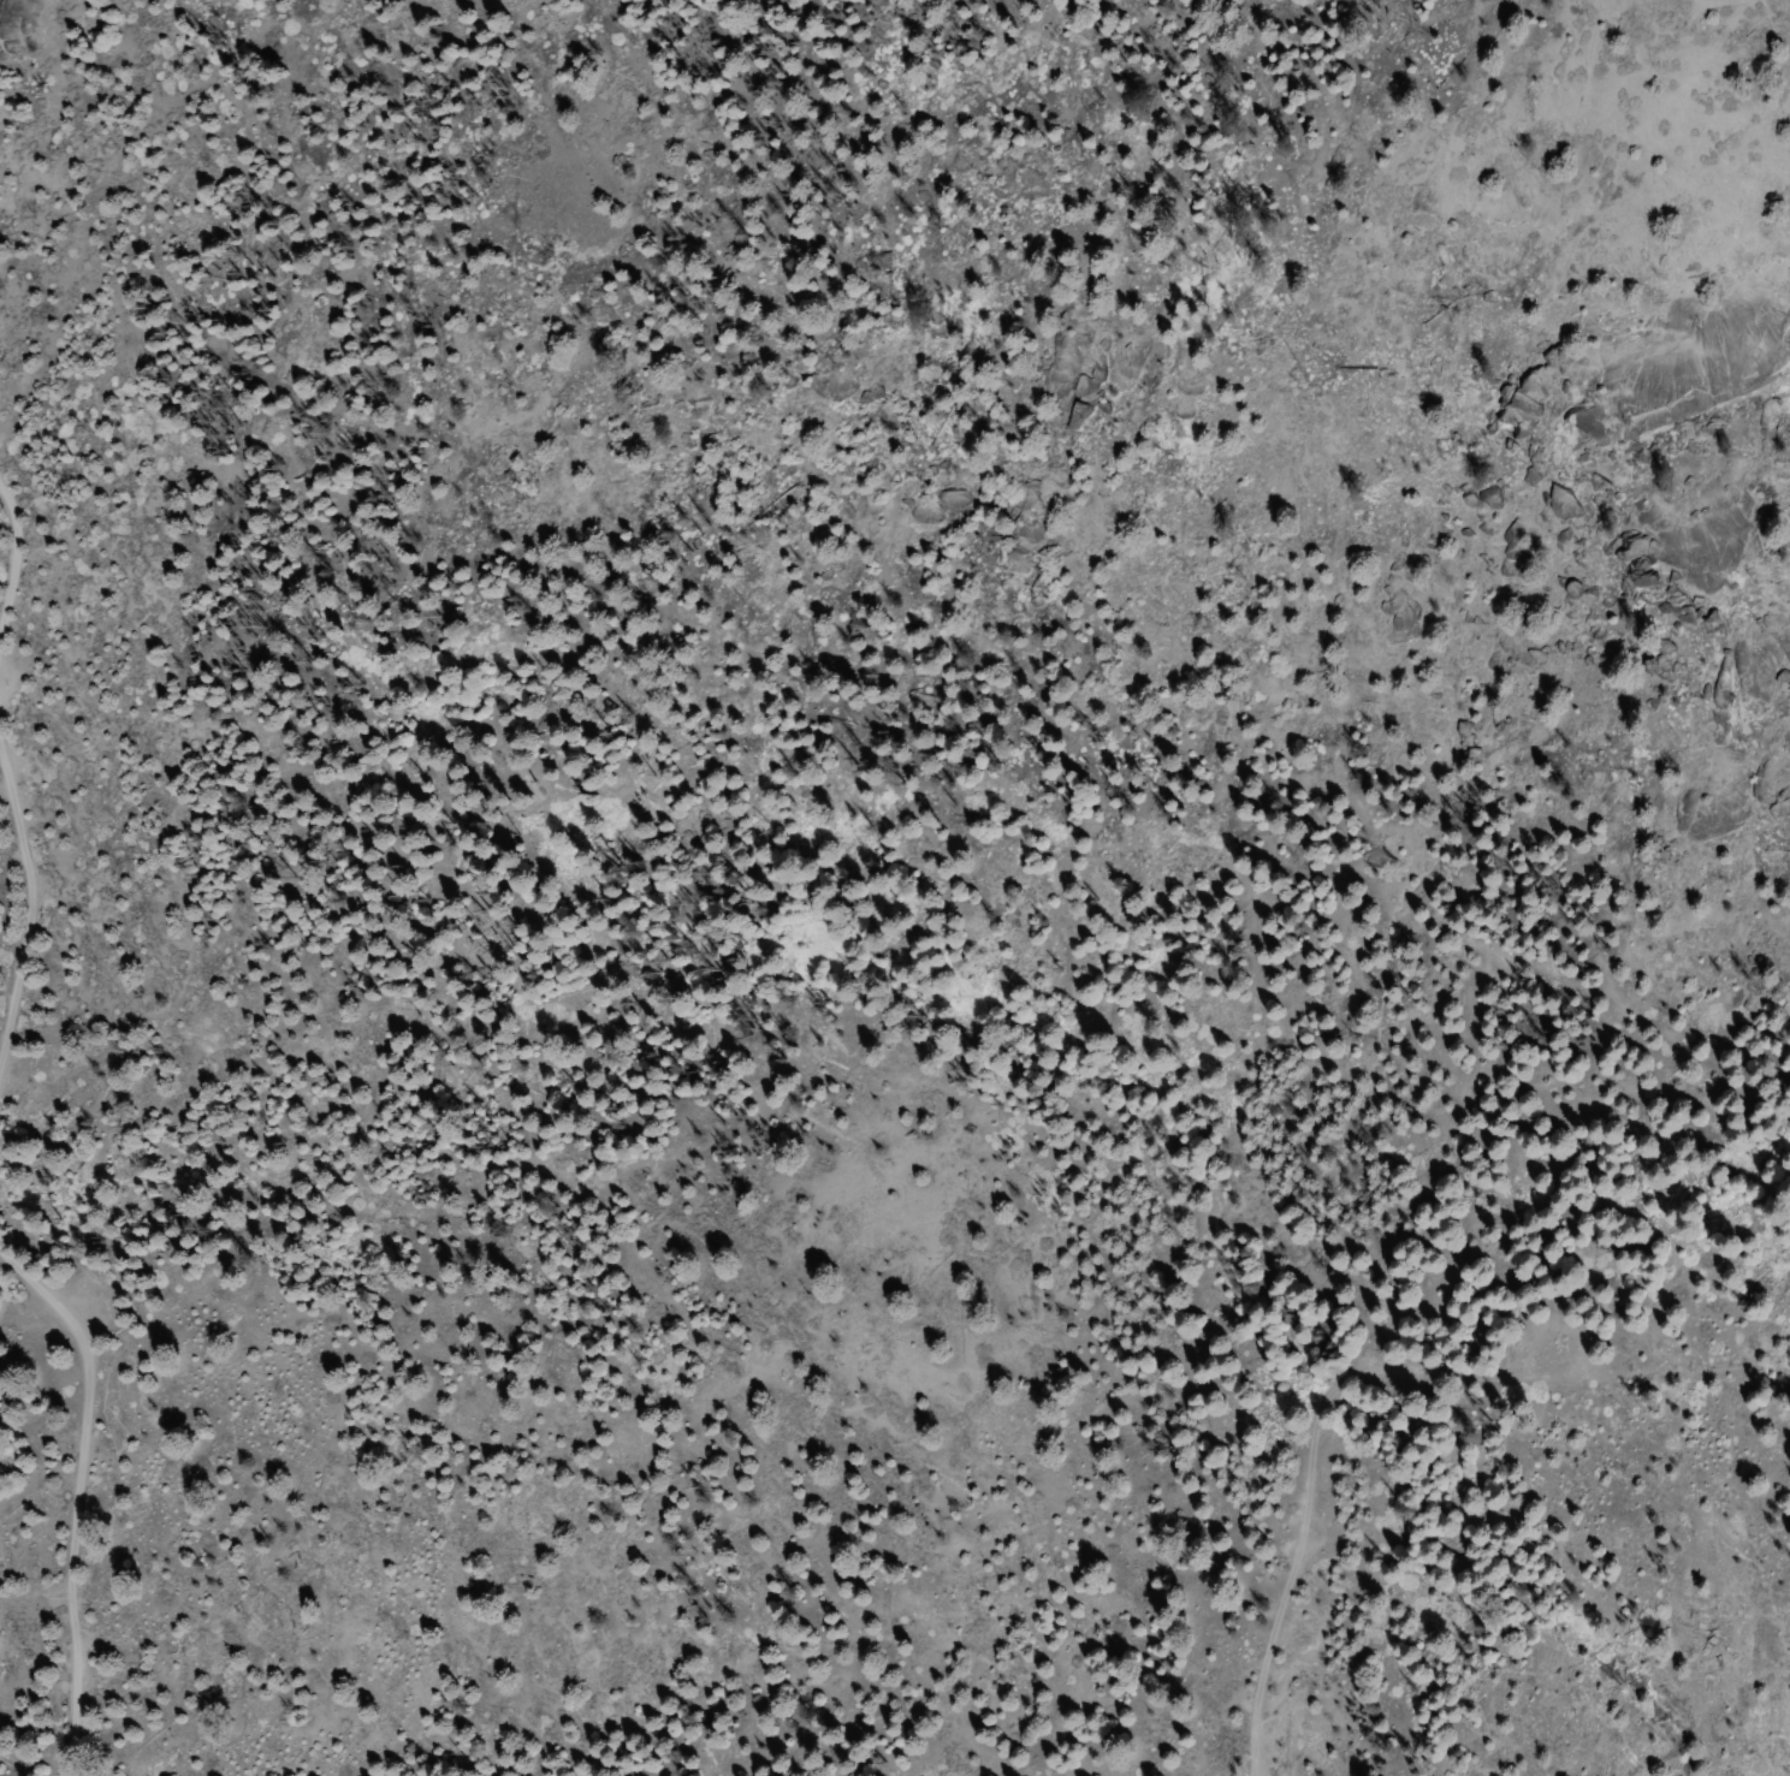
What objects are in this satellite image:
road: (11, 550)
road: (28, 905)
road: (87, 1371)
road: (1305, 1627)
road: (72, 1647)

